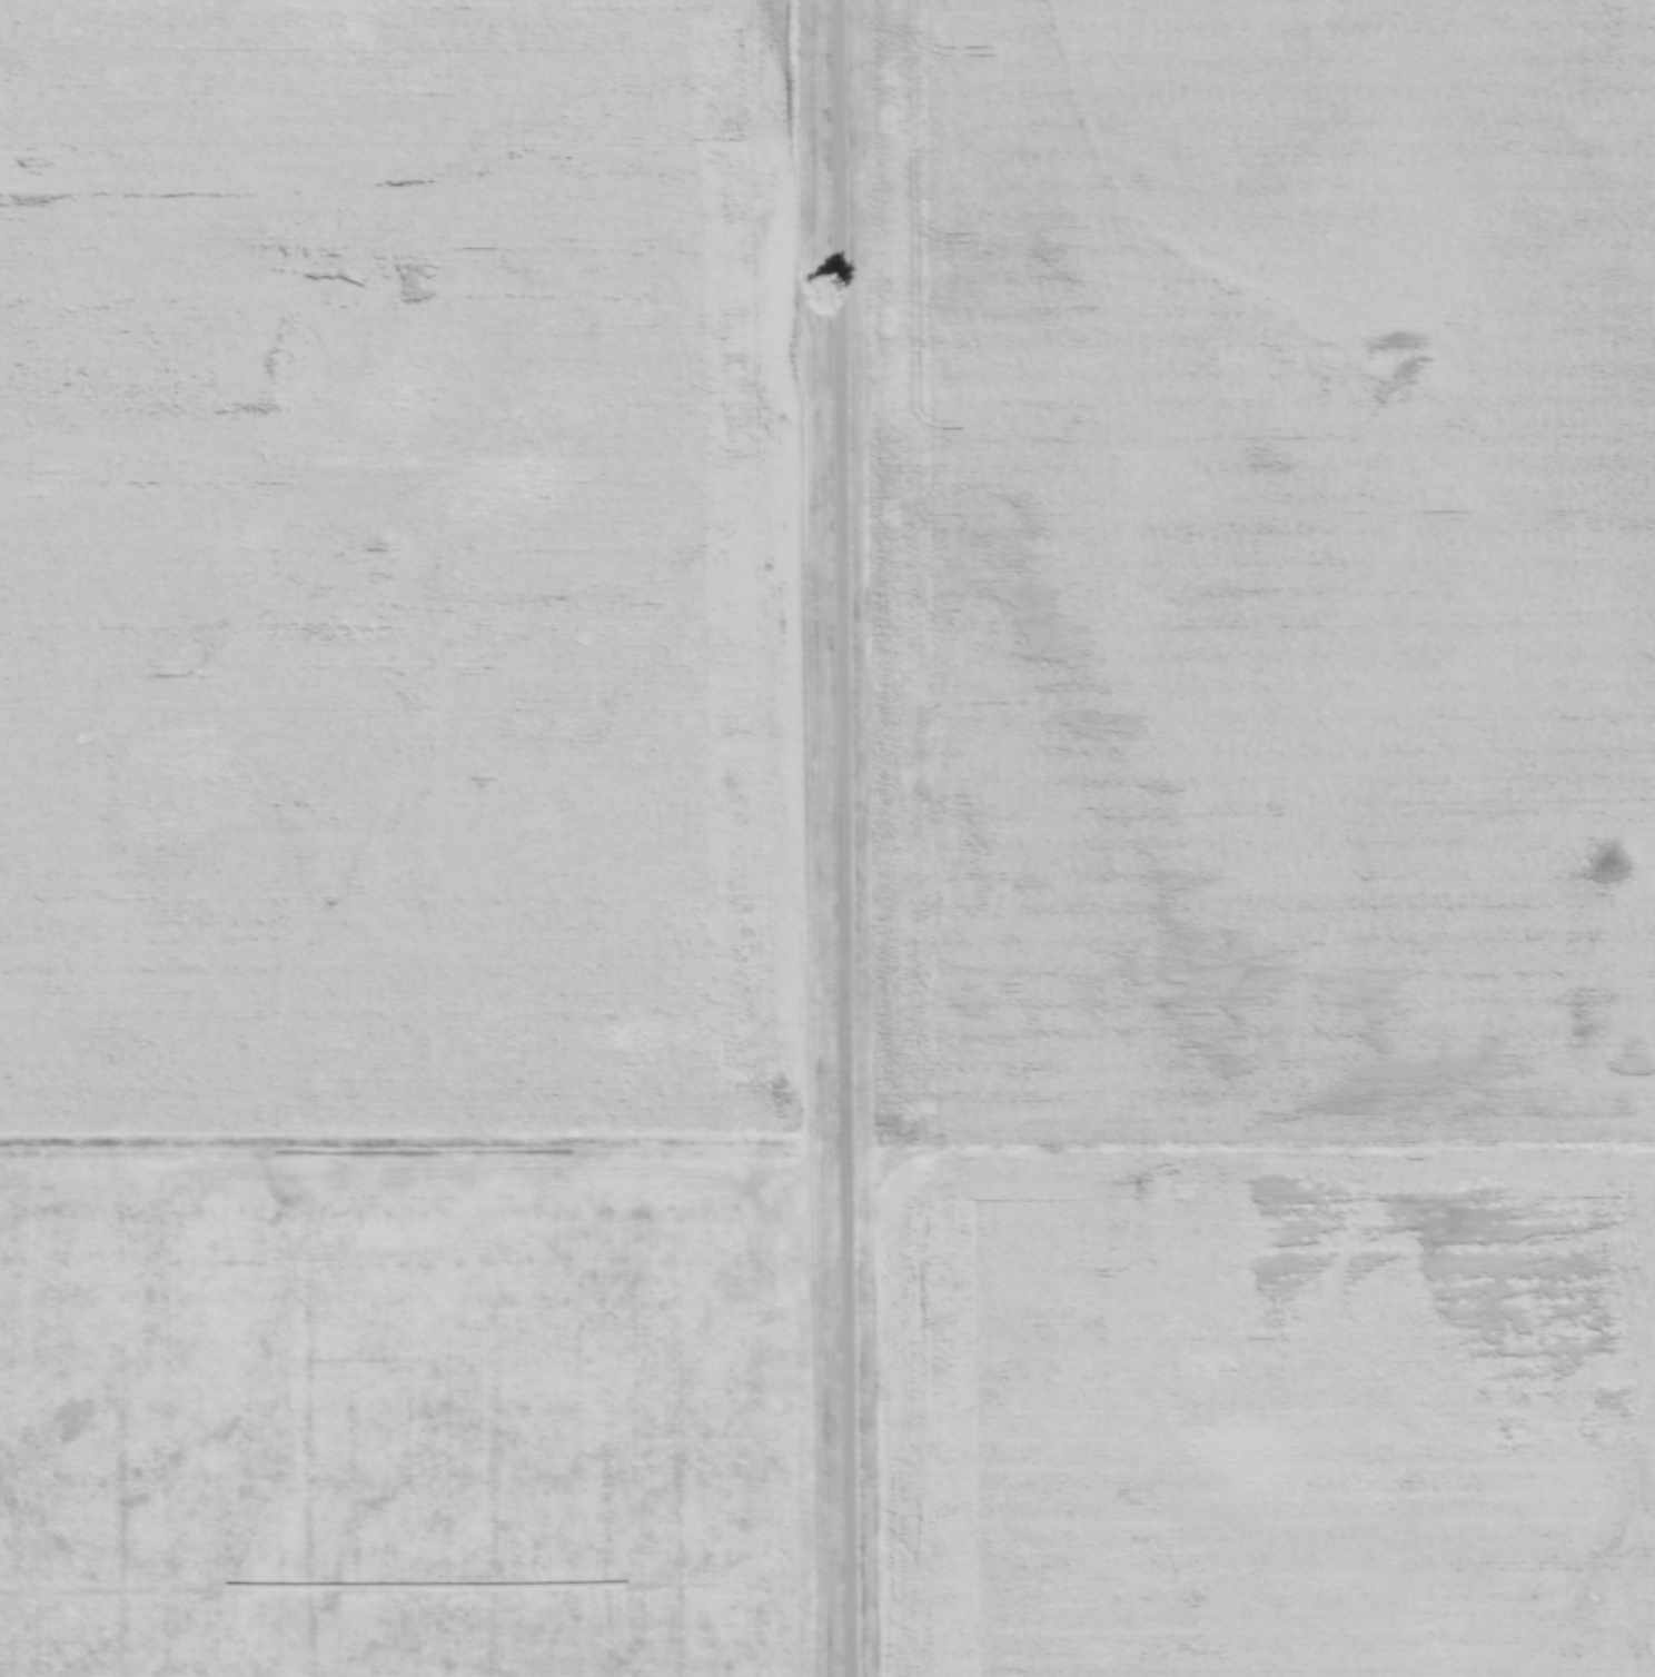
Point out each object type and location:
road: (845, 838)

